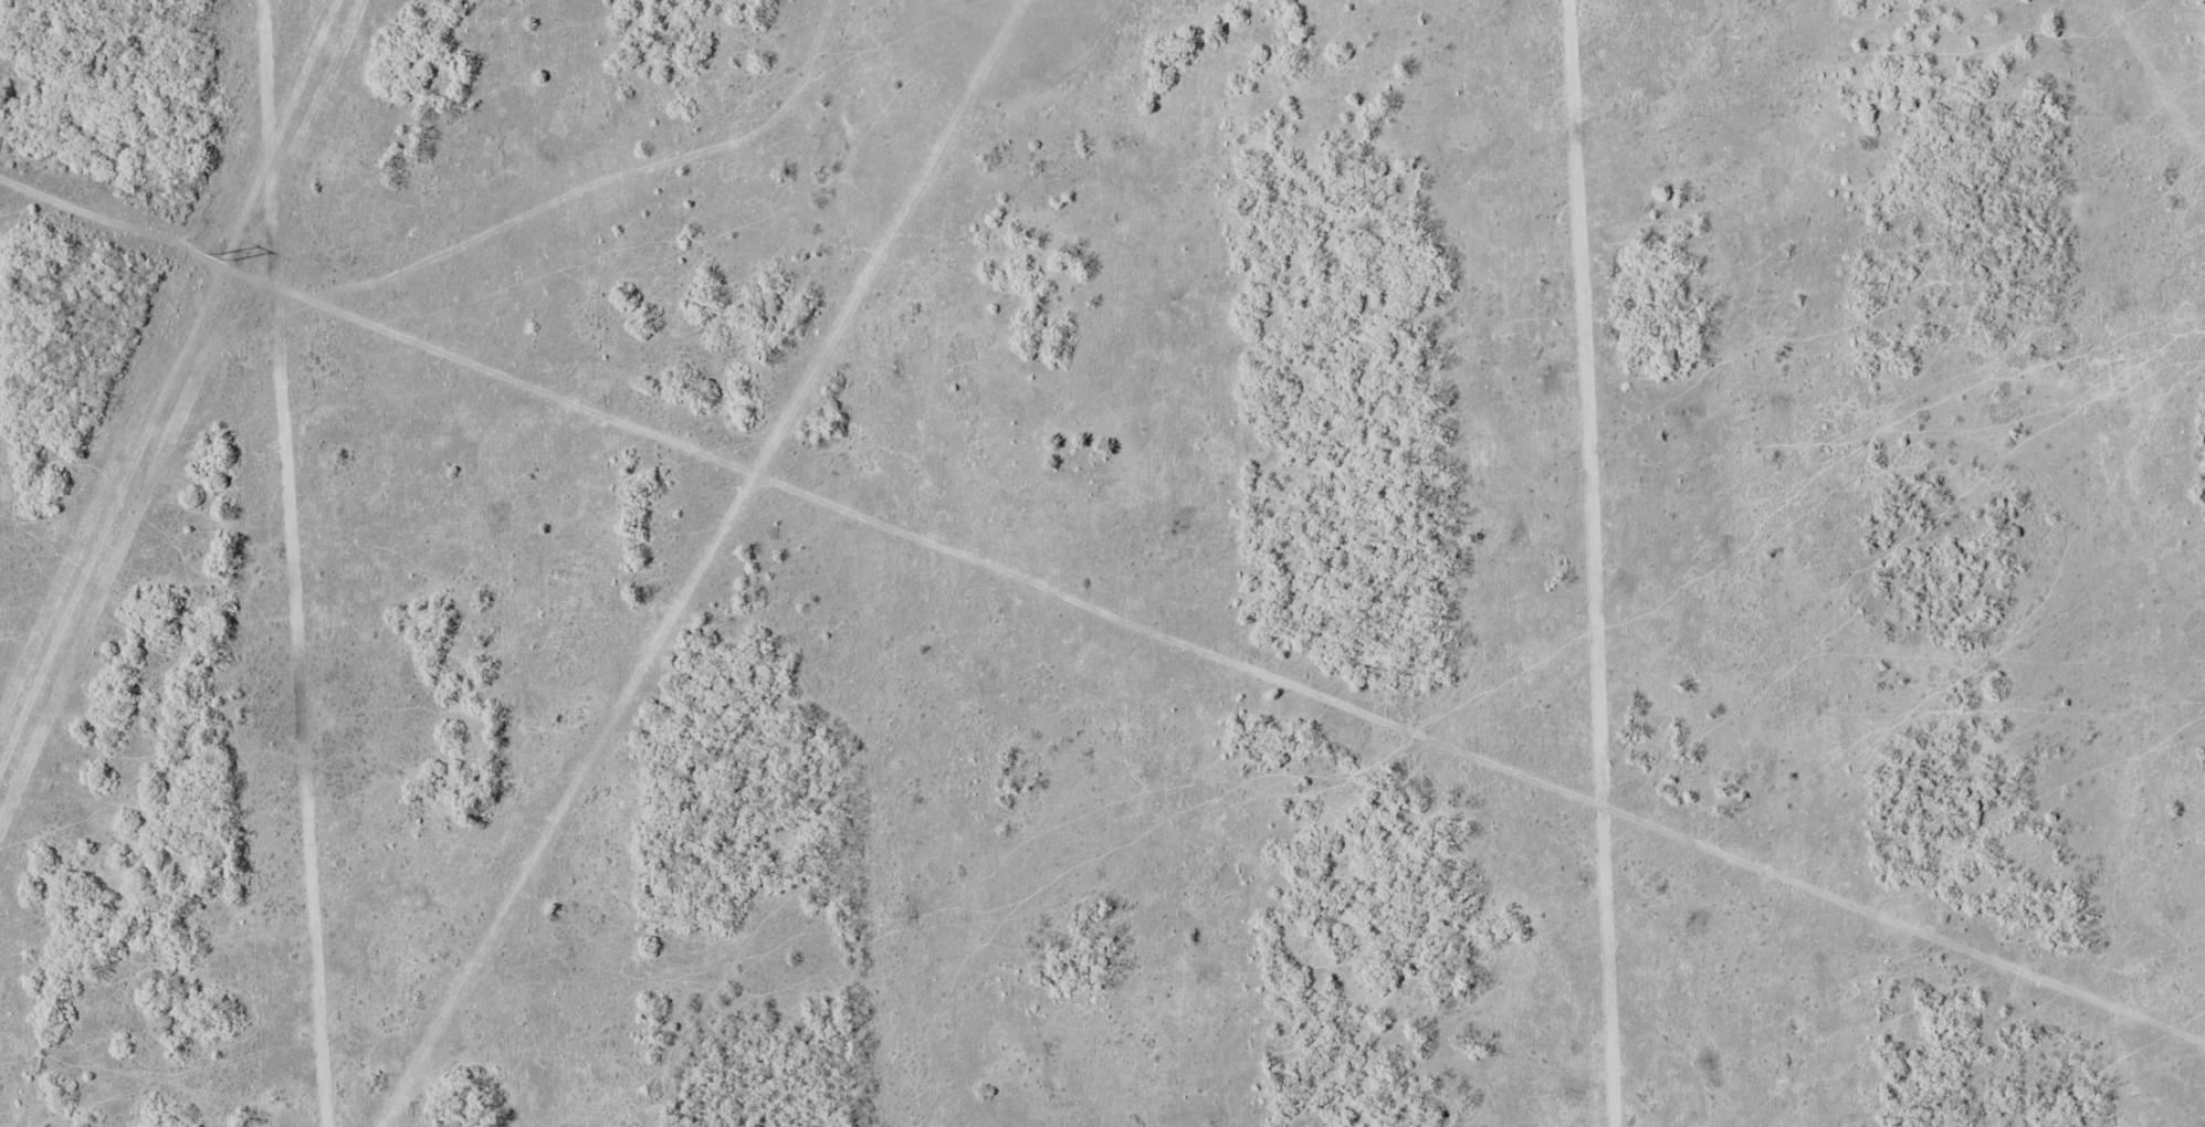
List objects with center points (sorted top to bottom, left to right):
power tower: (229, 257)

